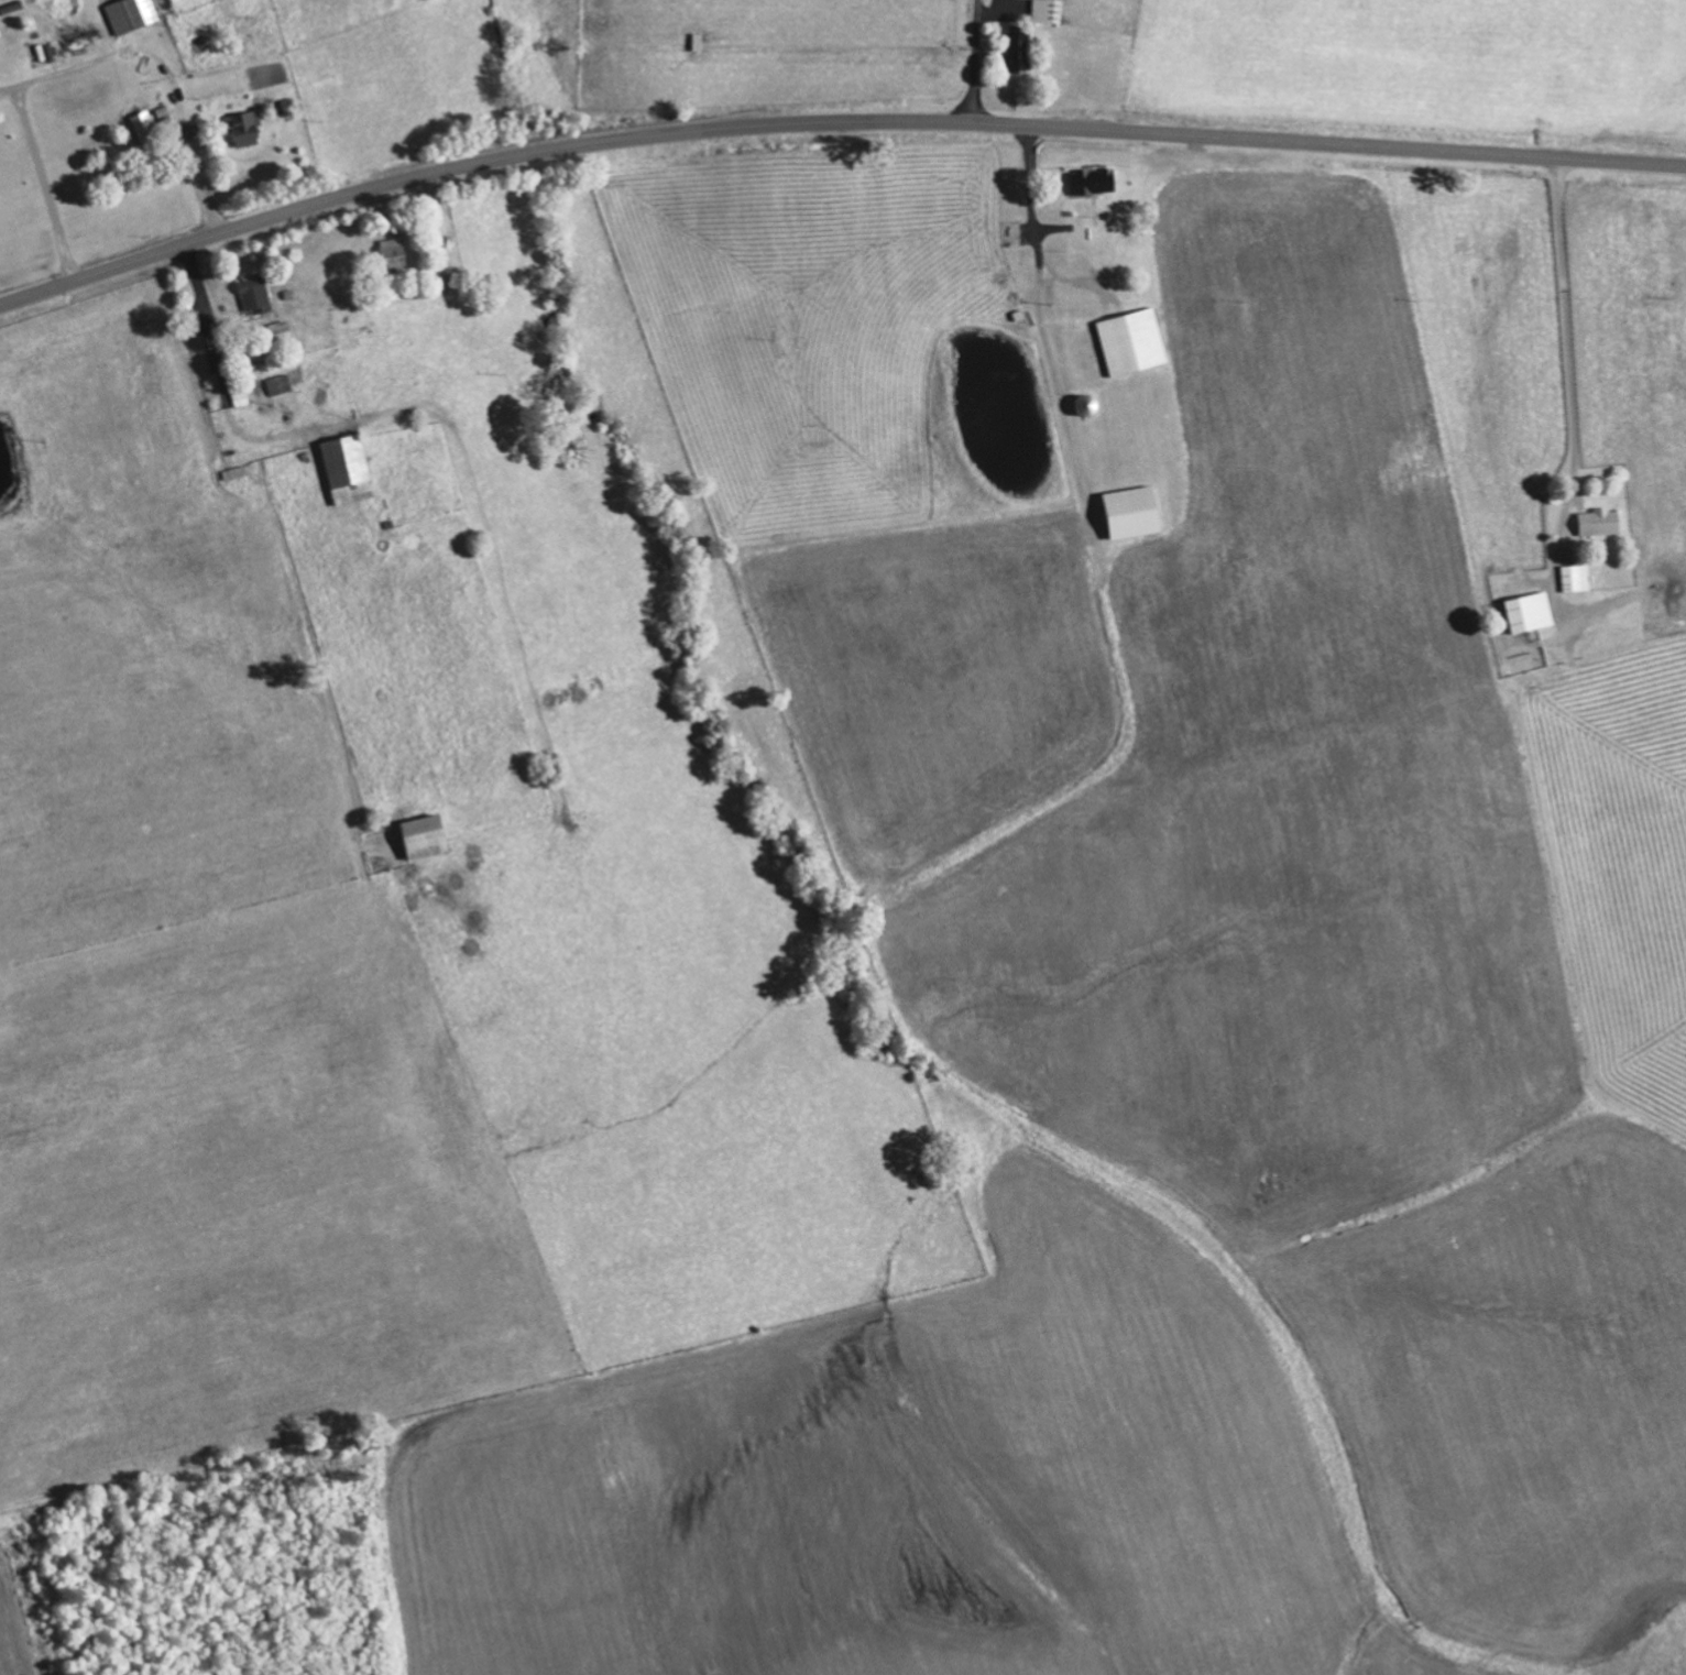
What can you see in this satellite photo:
building: (1049, 11)
building: (131, 14)
building: (1017, 53)
road: (831, 122)
building: (145, 125)
building: (245, 127)
building: (1093, 182)
building: (393, 247)
building: (1134, 341)
road: (1569, 359)
building: (280, 384)
building: (349, 469)
building: (1134, 512)
building: (1600, 522)
building: (1576, 578)
building: (1530, 612)
building: (425, 836)

